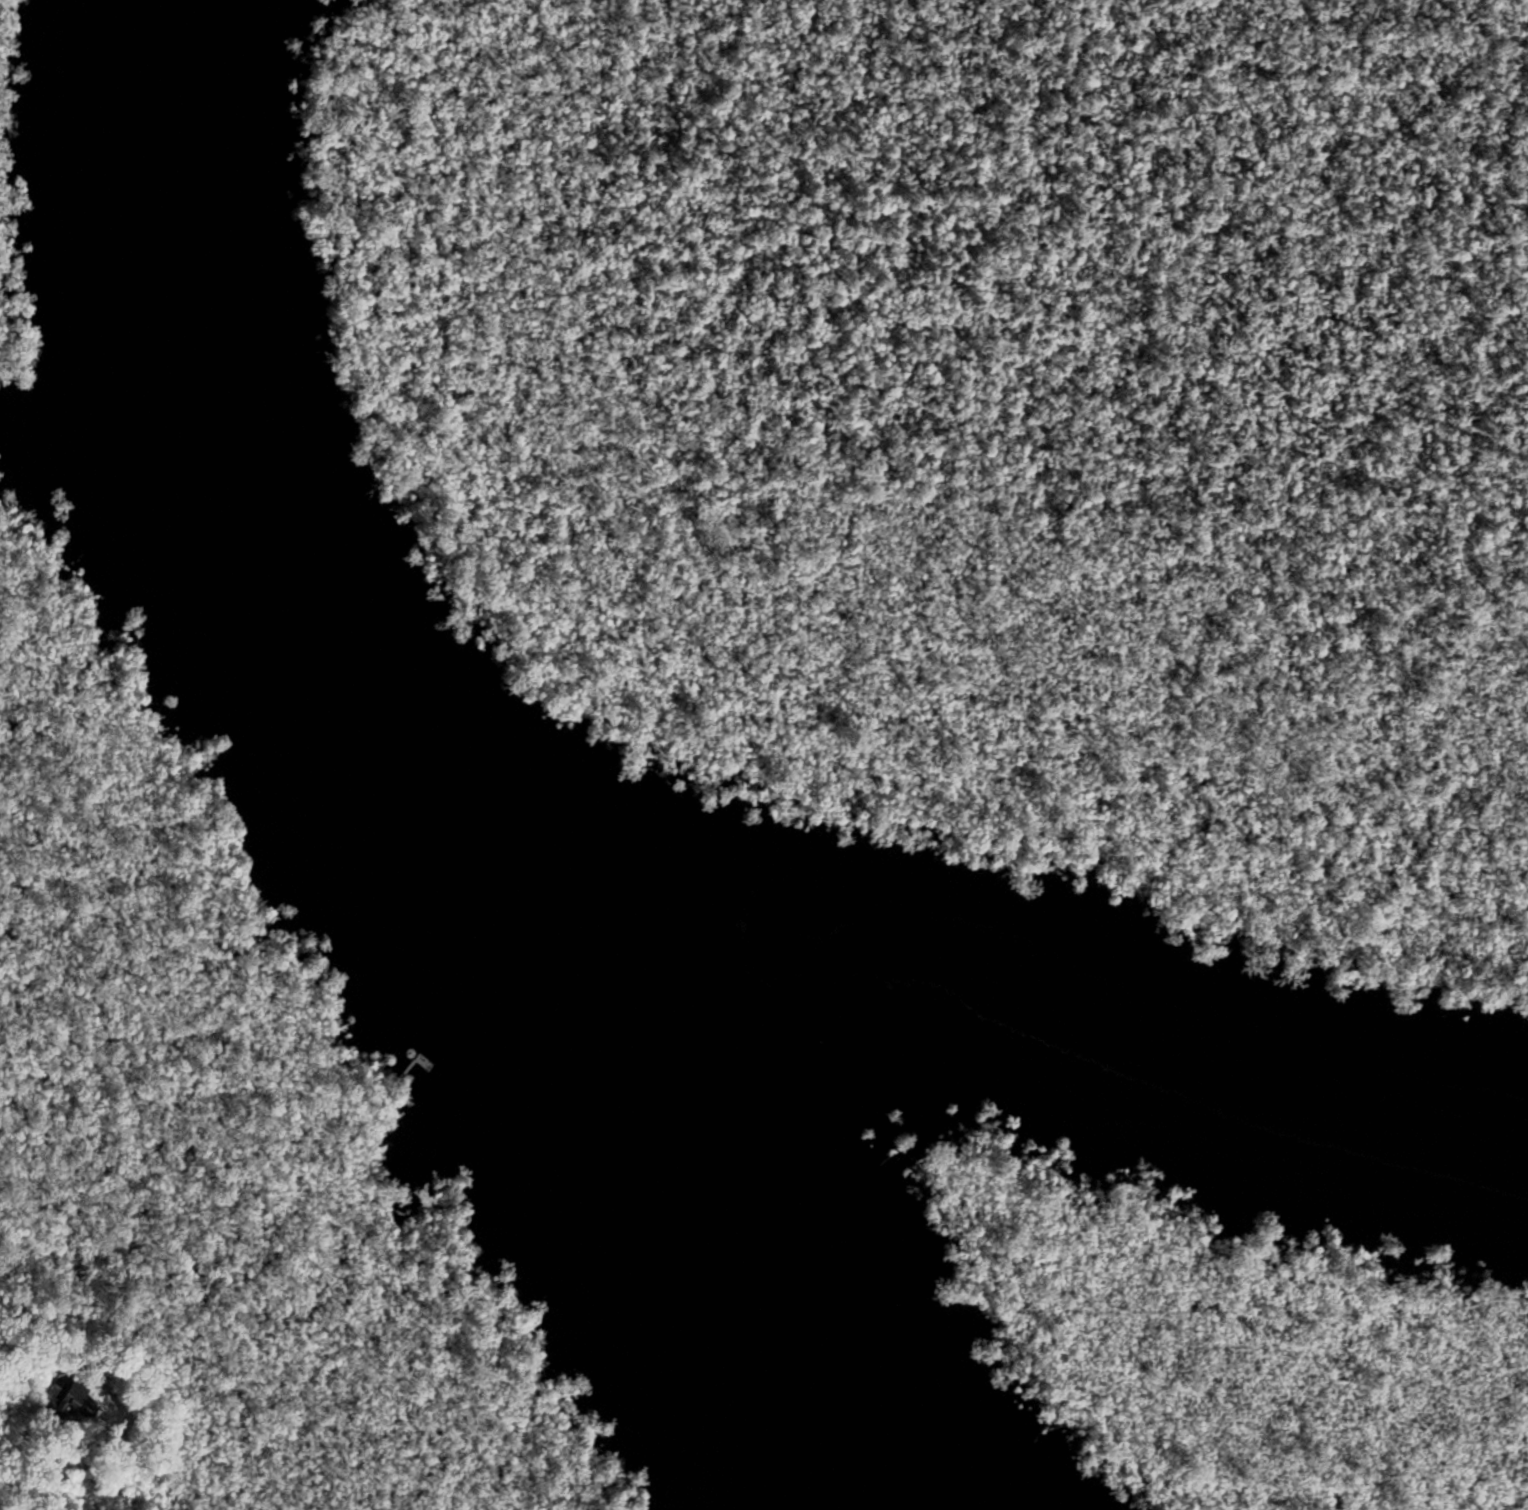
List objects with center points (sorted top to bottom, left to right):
river: (373, 825)
building: (63, 1402)

